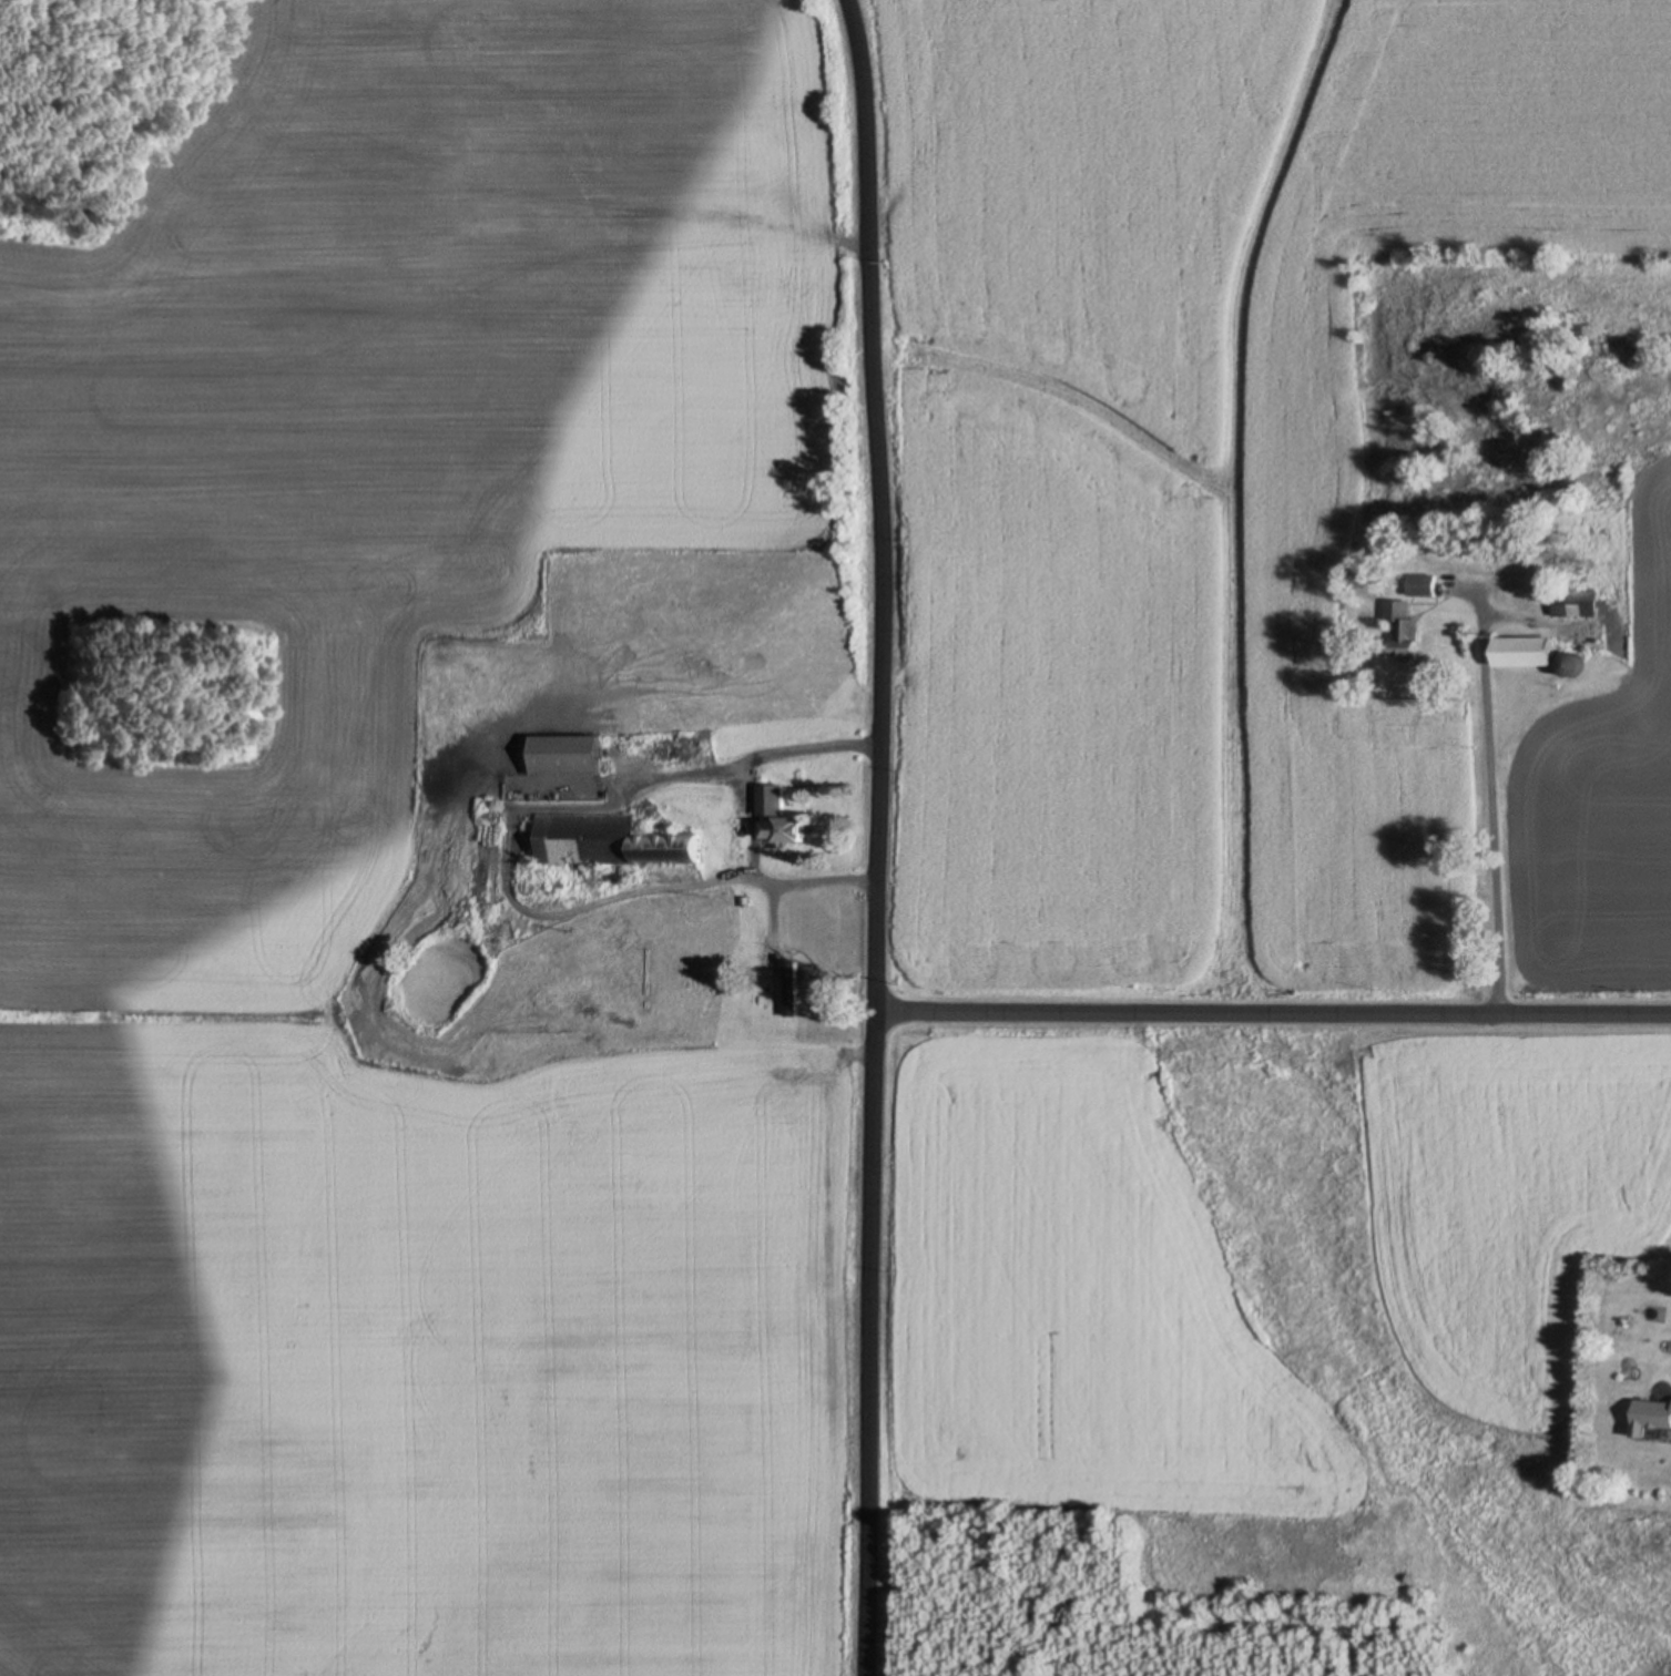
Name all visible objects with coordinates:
crop: (1232, 504)
building: (1422, 586)
building: (1573, 603)
building: (1404, 628)
building: (1524, 652)
building: (1569, 665)
building: (1589, 704)
building: (767, 737)
building: (567, 756)
building: (776, 818)
road: (1489, 829)
road: (878, 837)
building: (611, 842)
crop: (399, 868)
building: (789, 992)
road: (1273, 1015)
building: (1652, 1417)

